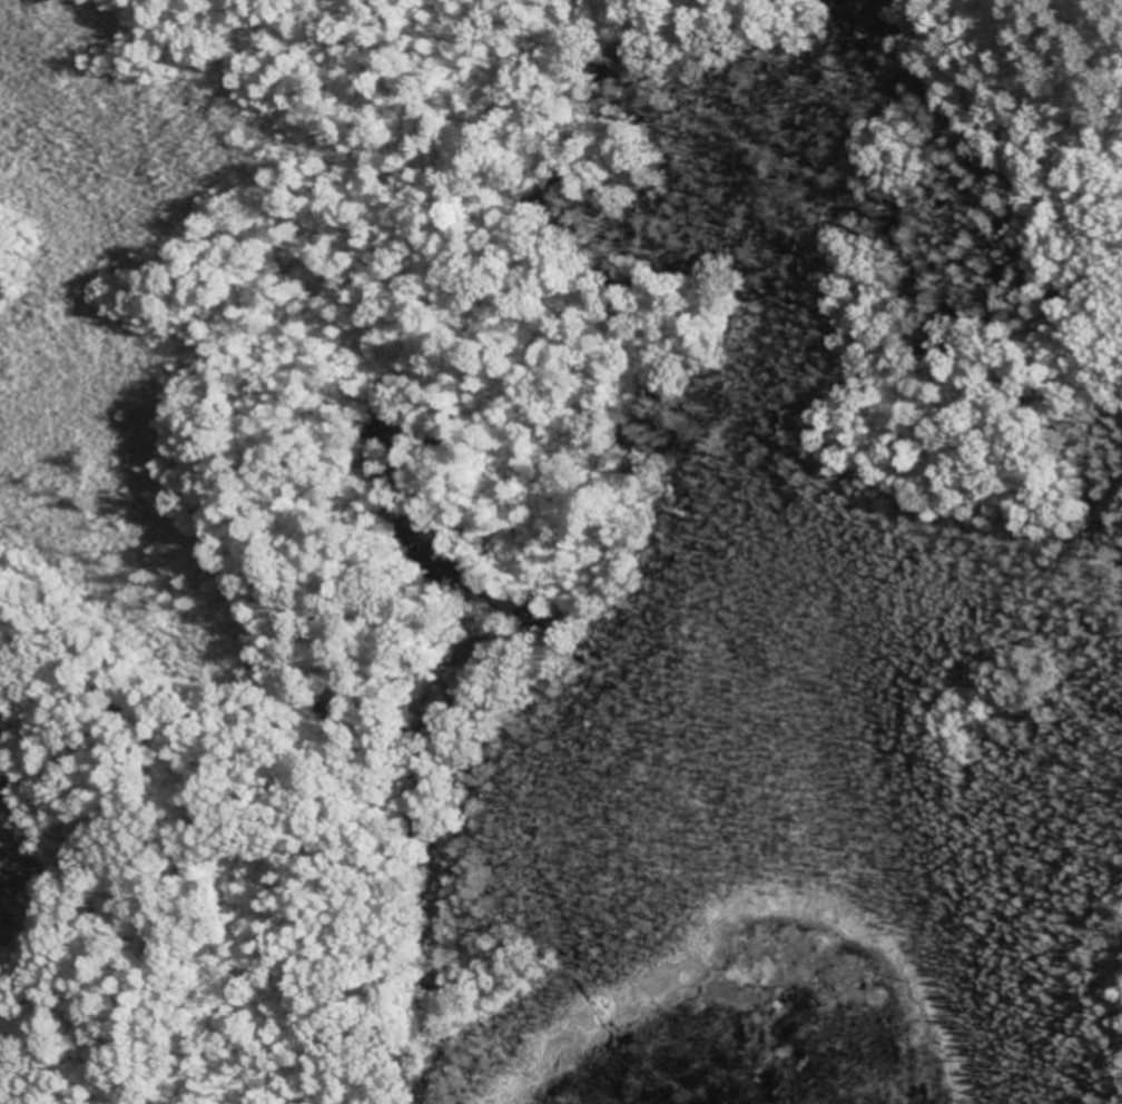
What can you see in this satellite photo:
road: (139, 973)

